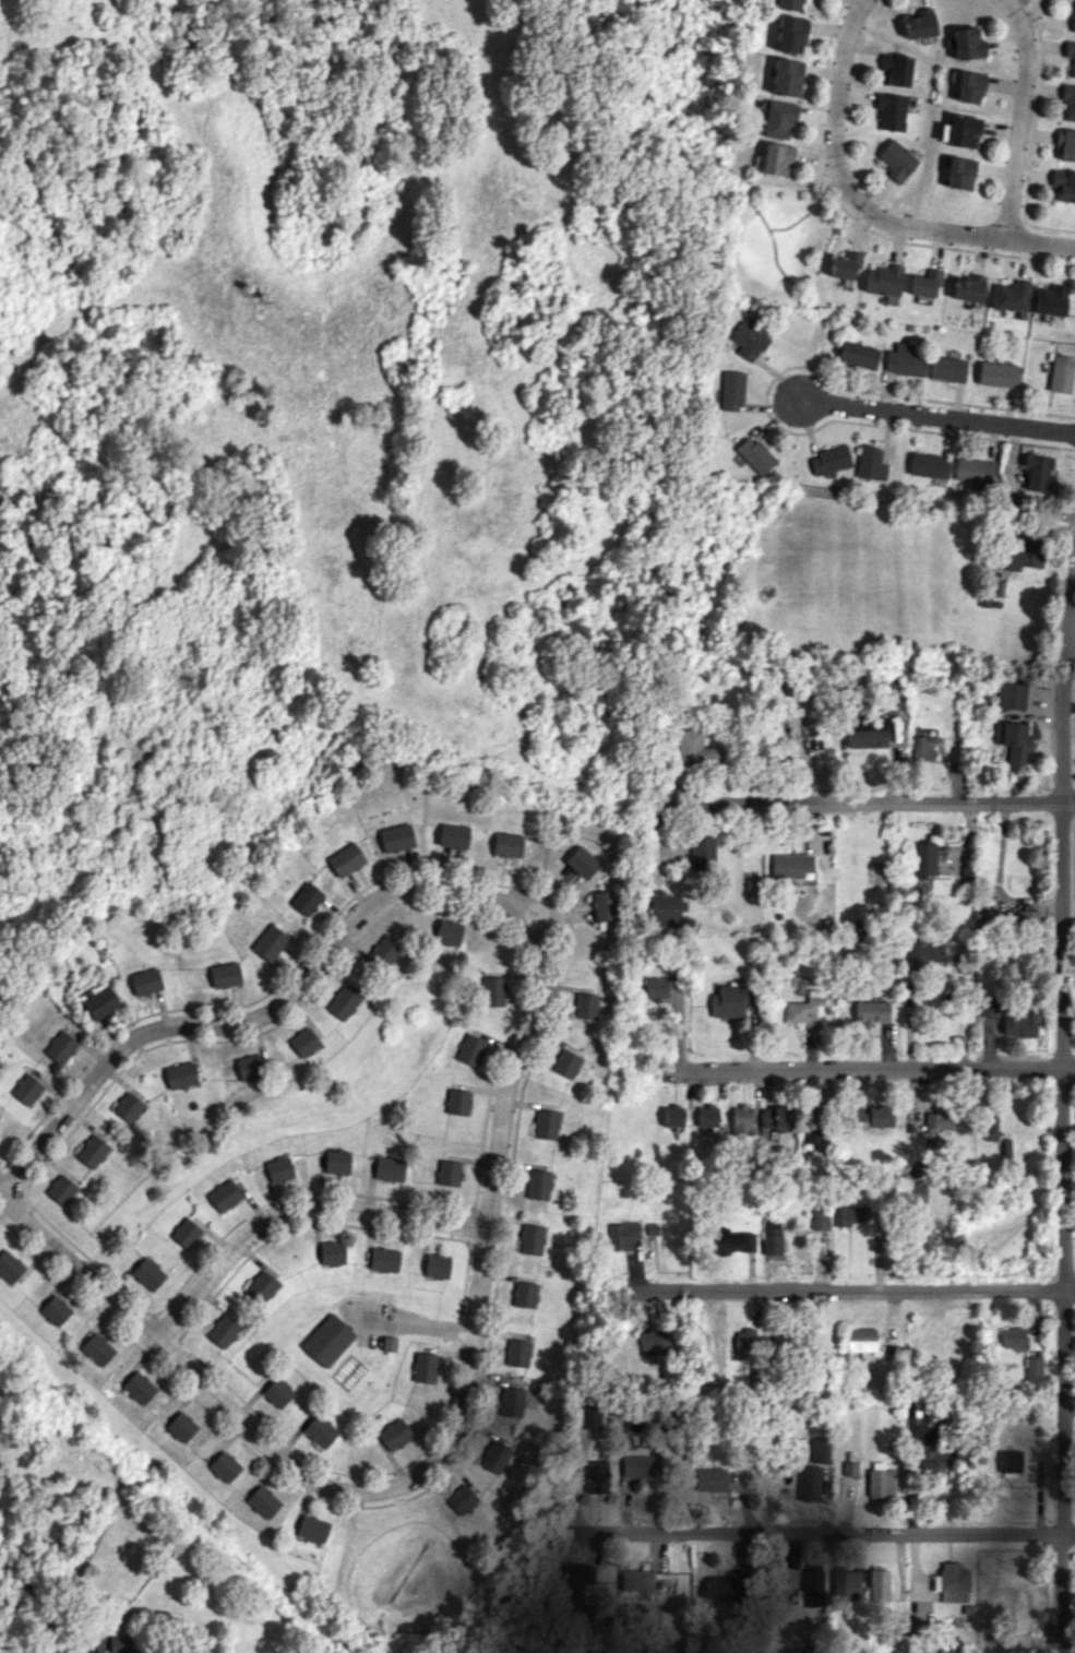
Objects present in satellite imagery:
road: (861, 0)
building: (789, 4)
road: (1029, 11)
building: (919, 24)
building: (789, 34)
building: (967, 44)
building: (1071, 56)
building: (895, 69)
building: (785, 76)
building: (969, 86)
building: (1070, 100)
building: (891, 110)
road: (1020, 116)
building: (777, 118)
building: (963, 131)
building: (1066, 145)
building: (774, 158)
building: (896, 160)
building: (959, 173)
road: (840, 178)
building: (1063, 185)
road: (1039, 241)
building: (845, 264)
building: (882, 280)
building: (924, 283)
building: (968, 288)
building: (1011, 296)
building: (1050, 300)
building: (746, 341)
building: (857, 355)
building: (904, 360)
building: (947, 369)
building: (1060, 373)
building: (998, 374)
building: (730, 390)
road: (937, 417)
building: (755, 455)
building: (829, 460)
building: (870, 463)
building: (928, 465)
building: (974, 469)
building: (1037, 473)
building: (1023, 554)
road: (1064, 655)
building: (889, 692)
building: (1011, 695)
building: (865, 732)
building: (1013, 741)
building: (695, 747)
building: (922, 747)
road: (867, 798)
building: (453, 835)
building: (396, 837)
building: (507, 844)
building: (702, 853)
building: (923, 858)
building: (346, 859)
building: (583, 863)
building: (789, 865)
building: (306, 899)
road: (553, 900)
building: (602, 905)
building: (666, 908)
building: (1026, 917)
building: (447, 931)
building: (270, 942)
road: (536, 946)
building: (923, 950)
building: (383, 952)
building: (225, 975)
building: (146, 982)
building: (656, 988)
building: (492, 990)
building: (728, 1000)
building: (100, 1002)
building: (342, 1002)
building: (585, 1006)
building: (988, 1007)
building: (870, 1012)
building: (803, 1013)
building: (1016, 1022)
building: (303, 1042)
road: (133, 1043)
building: (61, 1047)
building: (469, 1049)
building: (565, 1063)
building: (249, 1067)
road: (868, 1070)
building: (180, 1075)
building: (26, 1089)
building: (457, 1102)
building: (129, 1107)
building: (672, 1116)
building: (706, 1116)
building: (871, 1116)
building: (776, 1118)
building: (741, 1120)
building: (936, 1121)
building: (545, 1123)
building: (813, 1125)
building: (990, 1125)
building: (1005, 1149)
building: (94, 1151)
building: (336, 1162)
building: (279, 1168)
building: (389, 1168)
building: (449, 1173)
building: (537, 1185)
building: (61, 1189)
building: (224, 1196)
road: (1061, 1196)
road: (295, 1210)
building: (847, 1215)
building: (820, 1220)
building: (186, 1233)
building: (623, 1235)
building: (772, 1237)
building: (530, 1239)
building: (730, 1240)
building: (331, 1252)
building: (383, 1259)
building: (435, 1265)
building: (9, 1266)
building: (147, 1273)
building: (261, 1286)
road: (859, 1288)
building: (523, 1294)
building: (55, 1310)
building: (223, 1331)
building: (1013, 1337)
building: (327, 1340)
building: (861, 1340)
building: (744, 1342)
building: (653, 1343)
building: (96, 1348)
building: (515, 1353)
building: (423, 1367)
building: (1034, 1369)
building: (139, 1388)
building: (277, 1392)
building: (510, 1402)
building: (589, 1416)
building: (181, 1427)
building: (319, 1430)
building: (394, 1434)
building: (820, 1449)
building: (493, 1456)
building: (930, 1460)
building: (1010, 1461)
building: (638, 1463)
building: (224, 1466)
road: (294, 1467)
building: (849, 1468)
building: (595, 1476)
building: (709, 1479)
building: (809, 1483)
building: (882, 1483)
building: (461, 1499)
building: (262, 1501)
building: (311, 1529)
road: (826, 1536)
building: (634, 1580)
building: (952, 1582)
building: (846, 1584)
building: (877, 1585)
building: (812, 1586)
building: (574, 1587)
building: (720, 1587)
building: (119, 1644)

